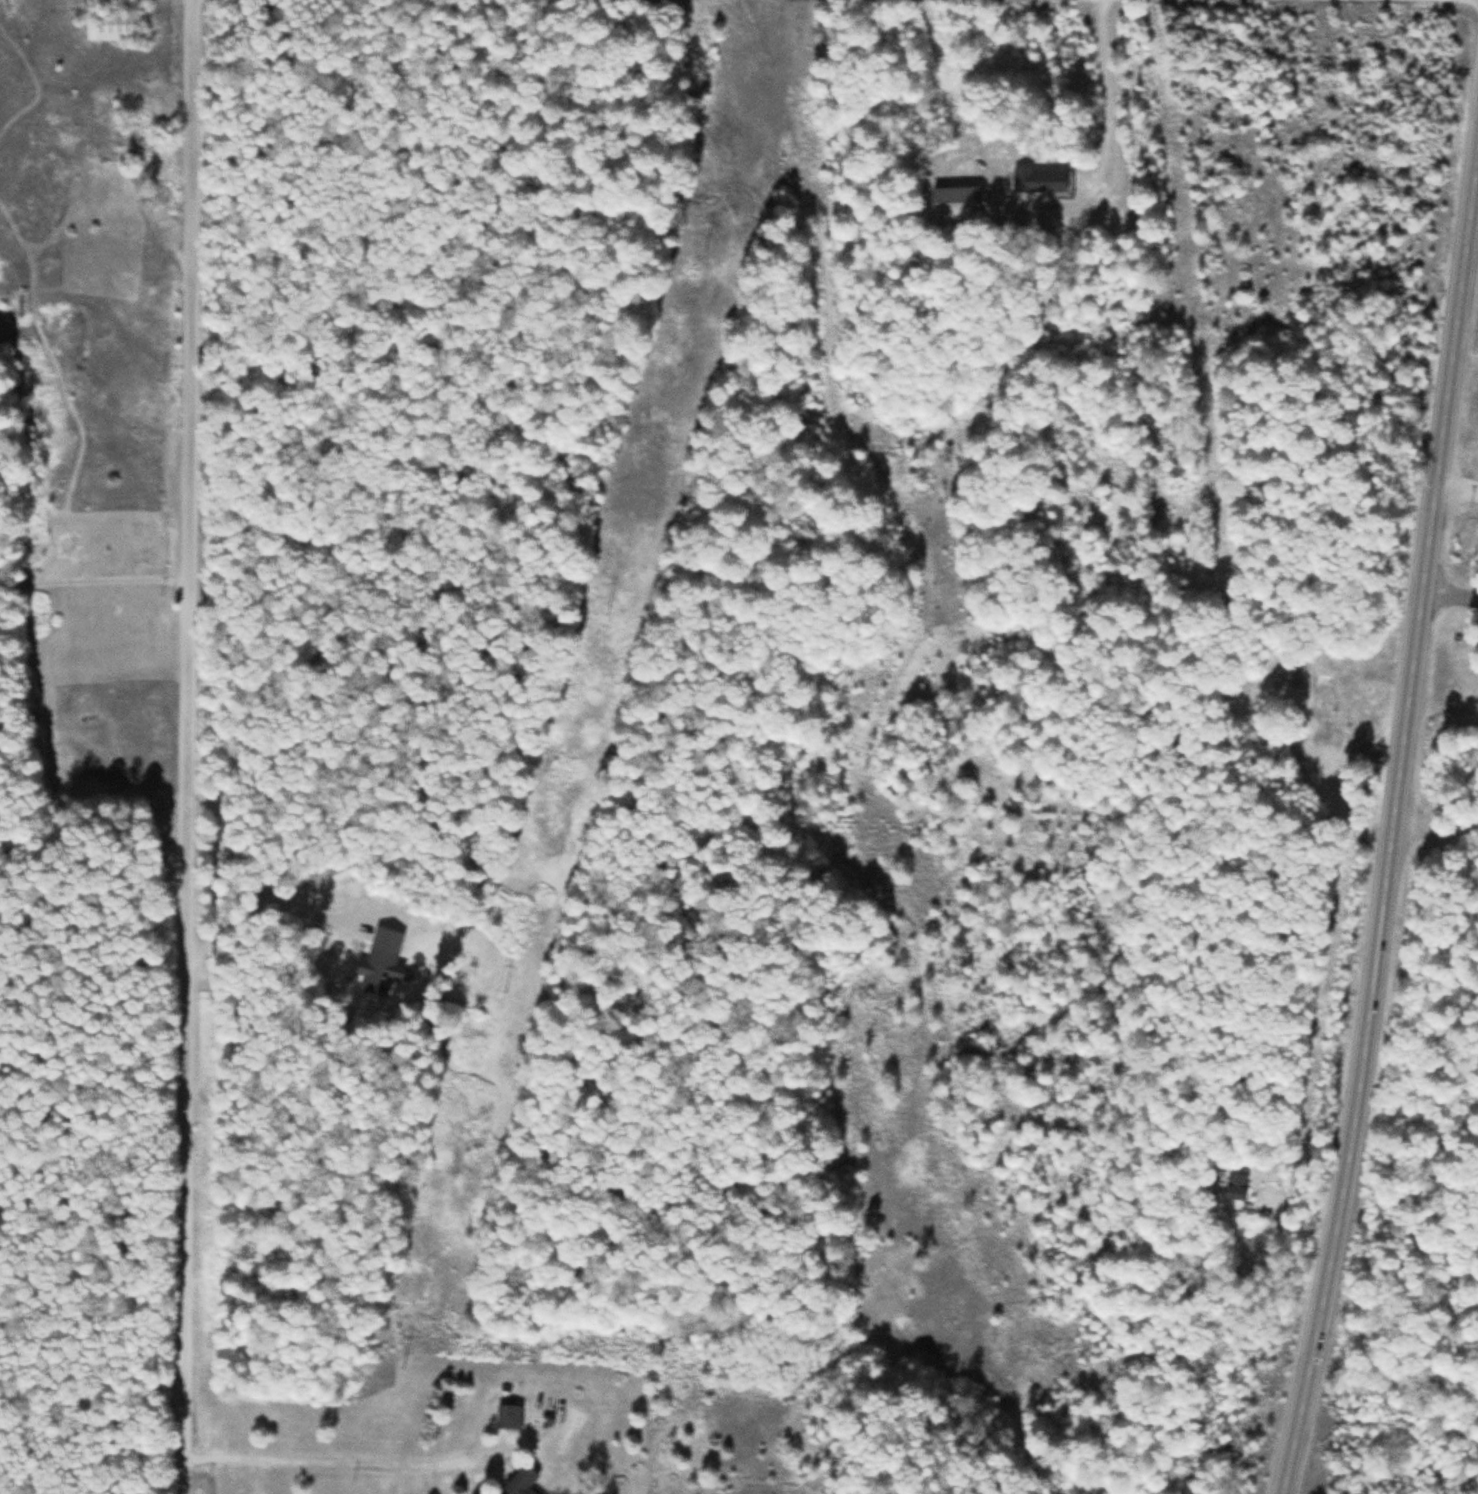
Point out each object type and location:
building: (112, 20)
building: (1038, 180)
building: (954, 202)
building: (1324, 698)
road: (188, 746)
road: (1392, 818)
building: (378, 971)
road: (92, 1127)
building: (1235, 1186)
building: (509, 1417)
building: (519, 1482)

